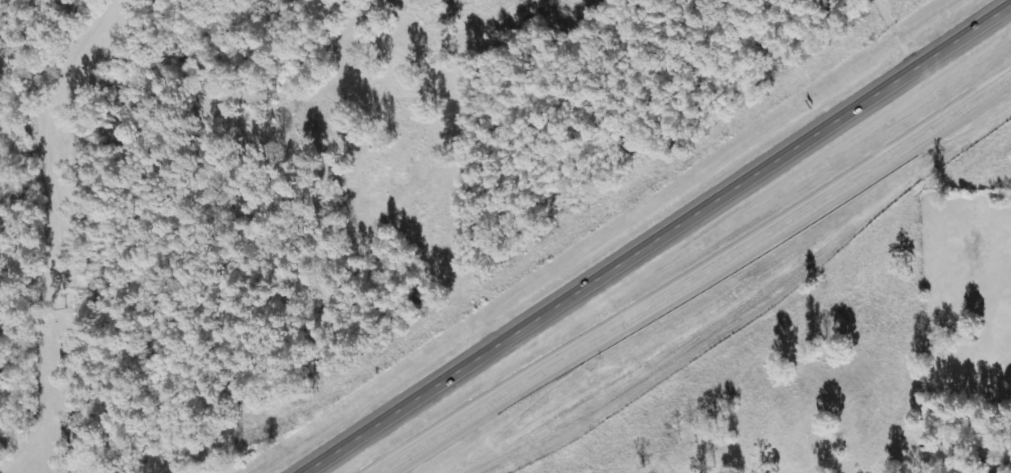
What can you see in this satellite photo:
road: (43, 235)
road: (656, 239)
road: (699, 273)

